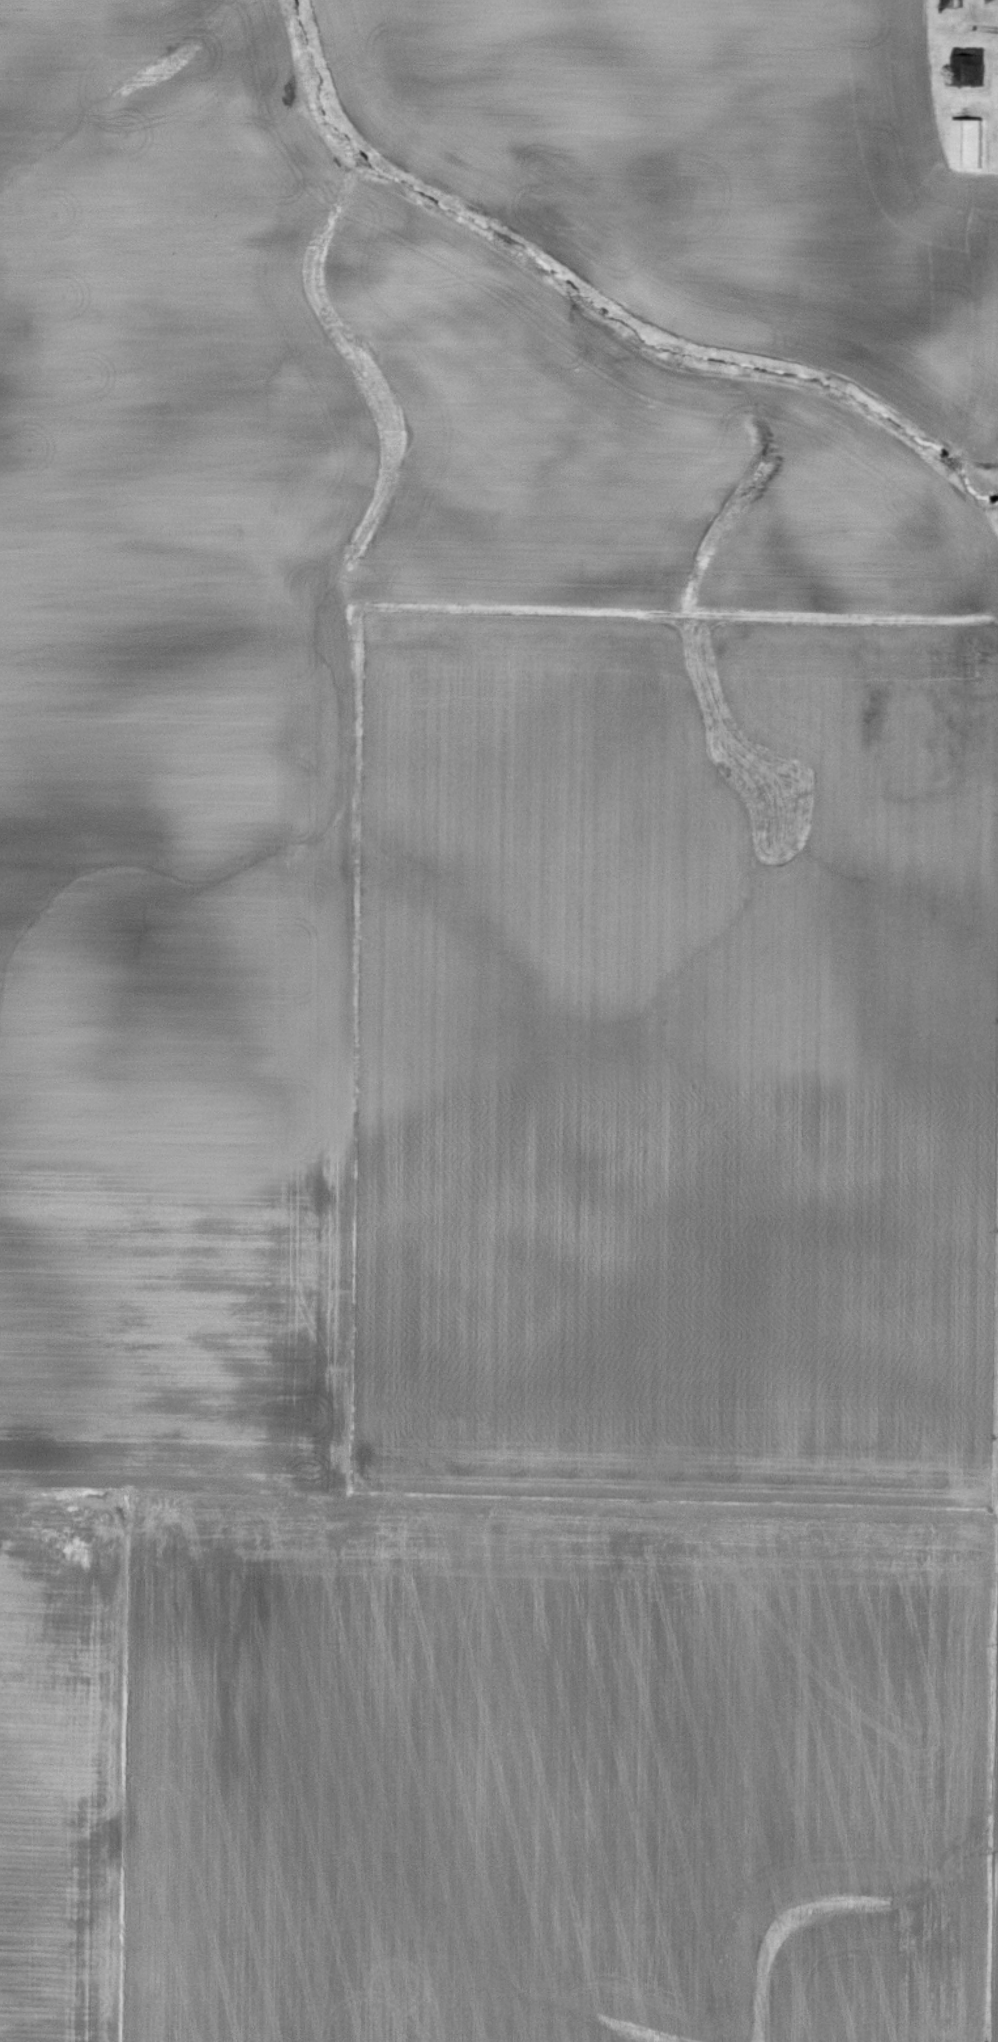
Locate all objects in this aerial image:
road: (996, 1938)

